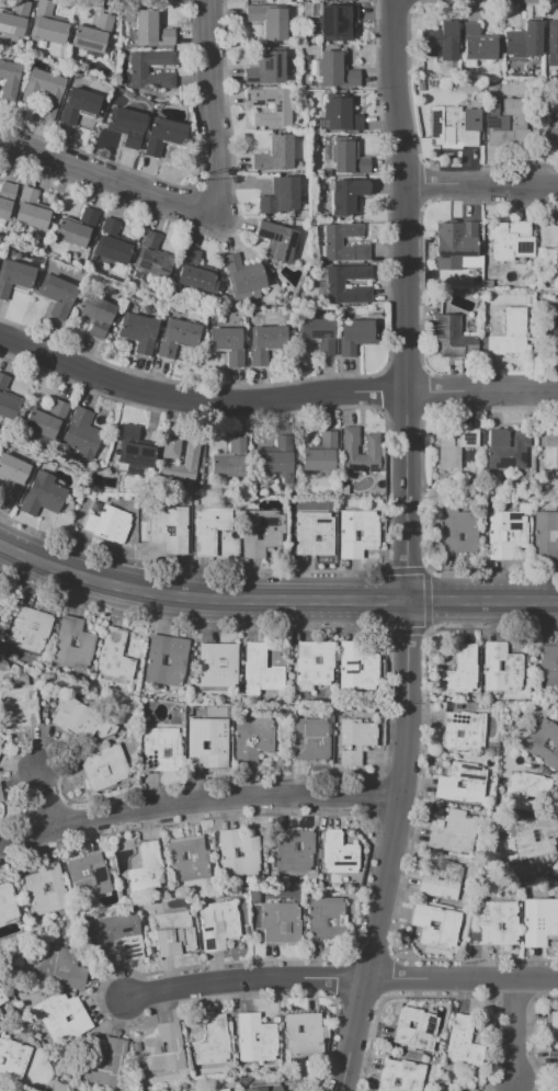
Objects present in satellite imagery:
road: (483, 0)
building: (306, 10)
building: (14, 20)
building: (334, 20)
building: (269, 21)
building: (47, 24)
building: (151, 31)
building: (92, 35)
building: (524, 41)
building: (439, 43)
building: (551, 43)
building: (478, 44)
building: (305, 49)
building: (311, 52)
building: (305, 59)
building: (267, 68)
building: (138, 70)
building: (312, 70)
building: (305, 71)
building: (334, 71)
building: (11, 80)
road: (409, 86)
building: (307, 87)
building: (55, 96)
building: (79, 106)
road: (212, 106)
building: (281, 110)
building: (340, 115)
building: (318, 123)
building: (126, 125)
building: (455, 125)
building: (513, 125)
building: (548, 128)
building: (162, 136)
building: (326, 154)
building: (274, 155)
building: (349, 159)
road: (490, 169)
road: (106, 178)
road: (481, 182)
road: (423, 183)
building: (280, 196)
building: (346, 196)
building: (5, 198)
building: (29, 211)
building: (76, 229)
building: (508, 239)
building: (549, 240)
building: (276, 242)
building: (332, 242)
building: (110, 243)
building: (454, 243)
building: (151, 255)
building: (192, 272)
building: (13, 276)
building: (242, 279)
building: (329, 285)
building: (56, 296)
building: (94, 316)
building: (138, 333)
building: (553, 333)
building: (319, 334)
building: (511, 334)
building: (354, 337)
building: (174, 338)
building: (451, 338)
building: (226, 344)
building: (264, 344)
road: (482, 390)
building: (5, 400)
road: (200, 402)
building: (45, 421)
building: (81, 434)
building: (453, 446)
building: (133, 448)
building: (506, 448)
building: (551, 450)
building: (169, 451)
building: (350, 451)
building: (319, 454)
building: (276, 459)
building: (229, 462)
building: (12, 478)
building: (42, 496)
building: (107, 524)
building: (169, 531)
building: (208, 531)
building: (457, 531)
building: (260, 534)
building: (356, 534)
building: (504, 534)
building: (544, 534)
building: (312, 536)
road: (408, 548)
road: (274, 601)
building: (0, 602)
building: (29, 628)
building: (71, 643)
building: (114, 656)
building: (166, 659)
building: (314, 663)
building: (357, 663)
building: (550, 663)
building: (217, 664)
building: (501, 668)
building: (258, 670)
building: (459, 670)
building: (23, 706)
building: (556, 713)
building: (80, 721)
building: (463, 732)
building: (255, 738)
building: (315, 739)
building: (354, 740)
building: (207, 743)
building: (542, 743)
building: (164, 749)
building: (0, 755)
building: (107, 769)
building: (462, 784)
building: (524, 791)
building: (2, 794)
road: (50, 800)
road: (196, 802)
building: (453, 832)
building: (535, 837)
building: (294, 851)
building: (337, 853)
building: (242, 854)
building: (191, 860)
building: (150, 866)
building: (557, 870)
building: (91, 875)
building: (441, 882)
building: (50, 889)
building: (8, 907)
building: (326, 920)
building: (538, 921)
building: (498, 922)
building: (280, 924)
building: (218, 925)
building: (435, 927)
building: (178, 934)
building: (125, 935)
building: (62, 968)
road: (462, 978)
road: (246, 980)
building: (3, 996)
building: (2, 1005)
building: (1, 1014)
building: (65, 1016)
building: (553, 1029)
building: (414, 1030)
road: (514, 1030)
building: (303, 1033)
building: (254, 1038)
building: (463, 1042)
building: (212, 1043)
building: (163, 1049)
building: (14, 1059)
building: (104, 1062)
building: (557, 1065)
building: (399, 1077)
building: (557, 1088)
building: (265, 1089)
building: (0, 1090)
building: (220, 1090)

